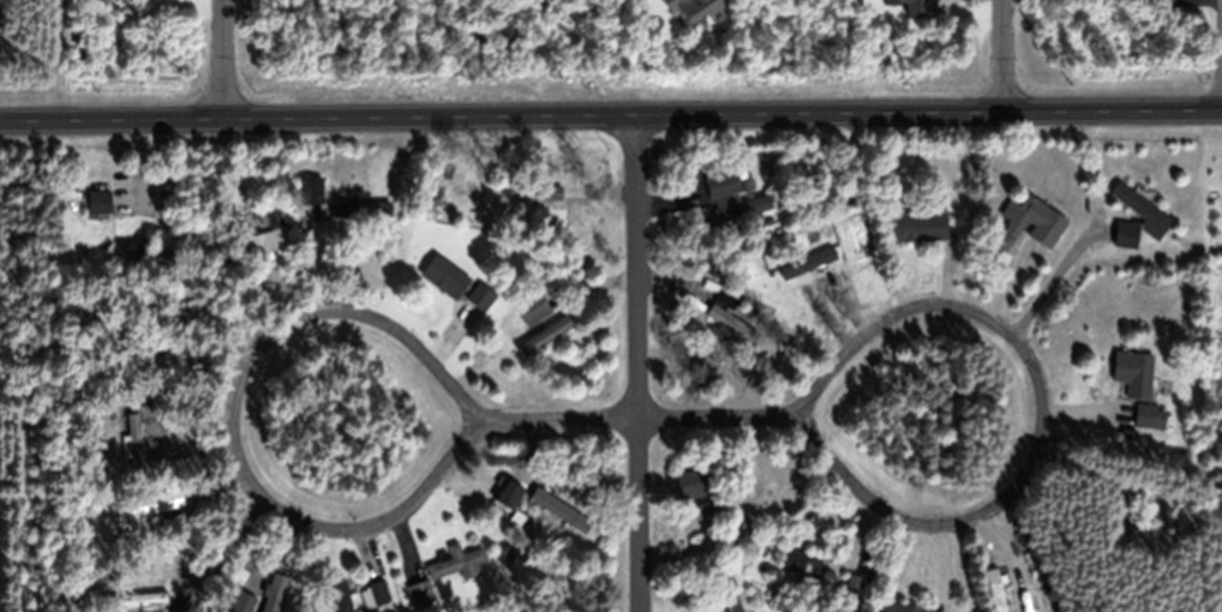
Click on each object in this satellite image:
building: (125, 0)
building: (1161, 2)
building: (911, 7)
building: (693, 8)
road: (1001, 56)
road: (222, 59)
road: (611, 116)
building: (738, 142)
building: (977, 151)
building: (125, 169)
building: (733, 175)
building: (880, 179)
building: (718, 185)
building: (311, 190)
building: (552, 192)
building: (102, 200)
building: (1142, 206)
building: (361, 208)
building: (737, 209)
building: (549, 217)
building: (911, 220)
building: (839, 227)
building: (1046, 229)
building: (1126, 233)
building: (280, 235)
building: (258, 247)
building: (154, 253)
building: (810, 262)
building: (443, 283)
building: (481, 296)
building: (727, 296)
building: (1221, 298)
building: (533, 308)
building: (166, 316)
building: (732, 325)
building: (545, 335)
building: (140, 359)
road: (635, 365)
building: (1133, 372)
building: (95, 390)
building: (140, 392)
building: (1145, 415)
road: (726, 416)
road: (544, 424)
building: (136, 442)
road: (832, 467)
road: (441, 472)
building: (750, 492)
building: (508, 493)
building: (167, 502)
building: (1148, 506)
building: (561, 509)
building: (723, 509)
building: (82, 534)
building: (1122, 535)
building: (82, 546)
building: (798, 559)
building: (457, 562)
building: (829, 584)
building: (996, 588)
building: (293, 592)
building: (376, 592)
building: (276, 593)
building: (421, 593)
building: (900, 596)
building: (139, 598)
building: (336, 600)
building: (904, 607)
building: (427, 608)

